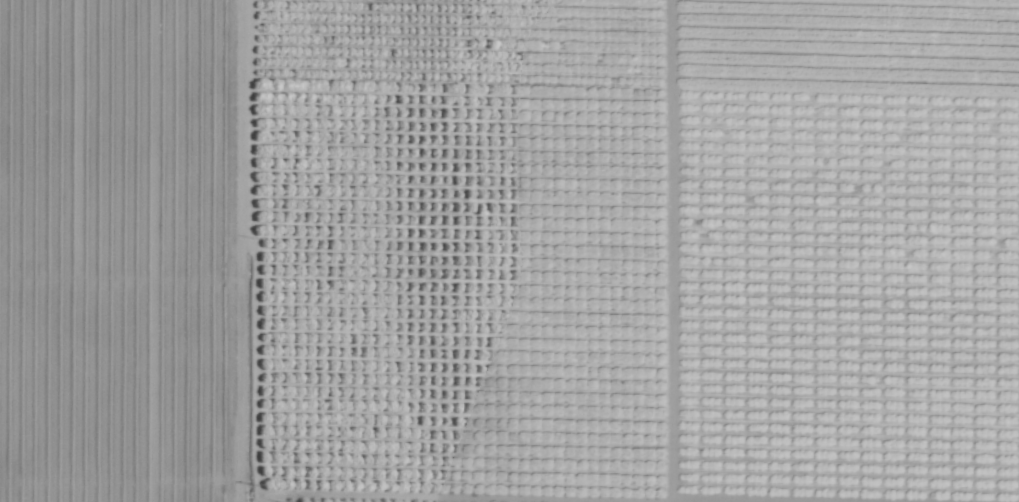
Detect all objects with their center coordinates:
crop: (509, 251)

